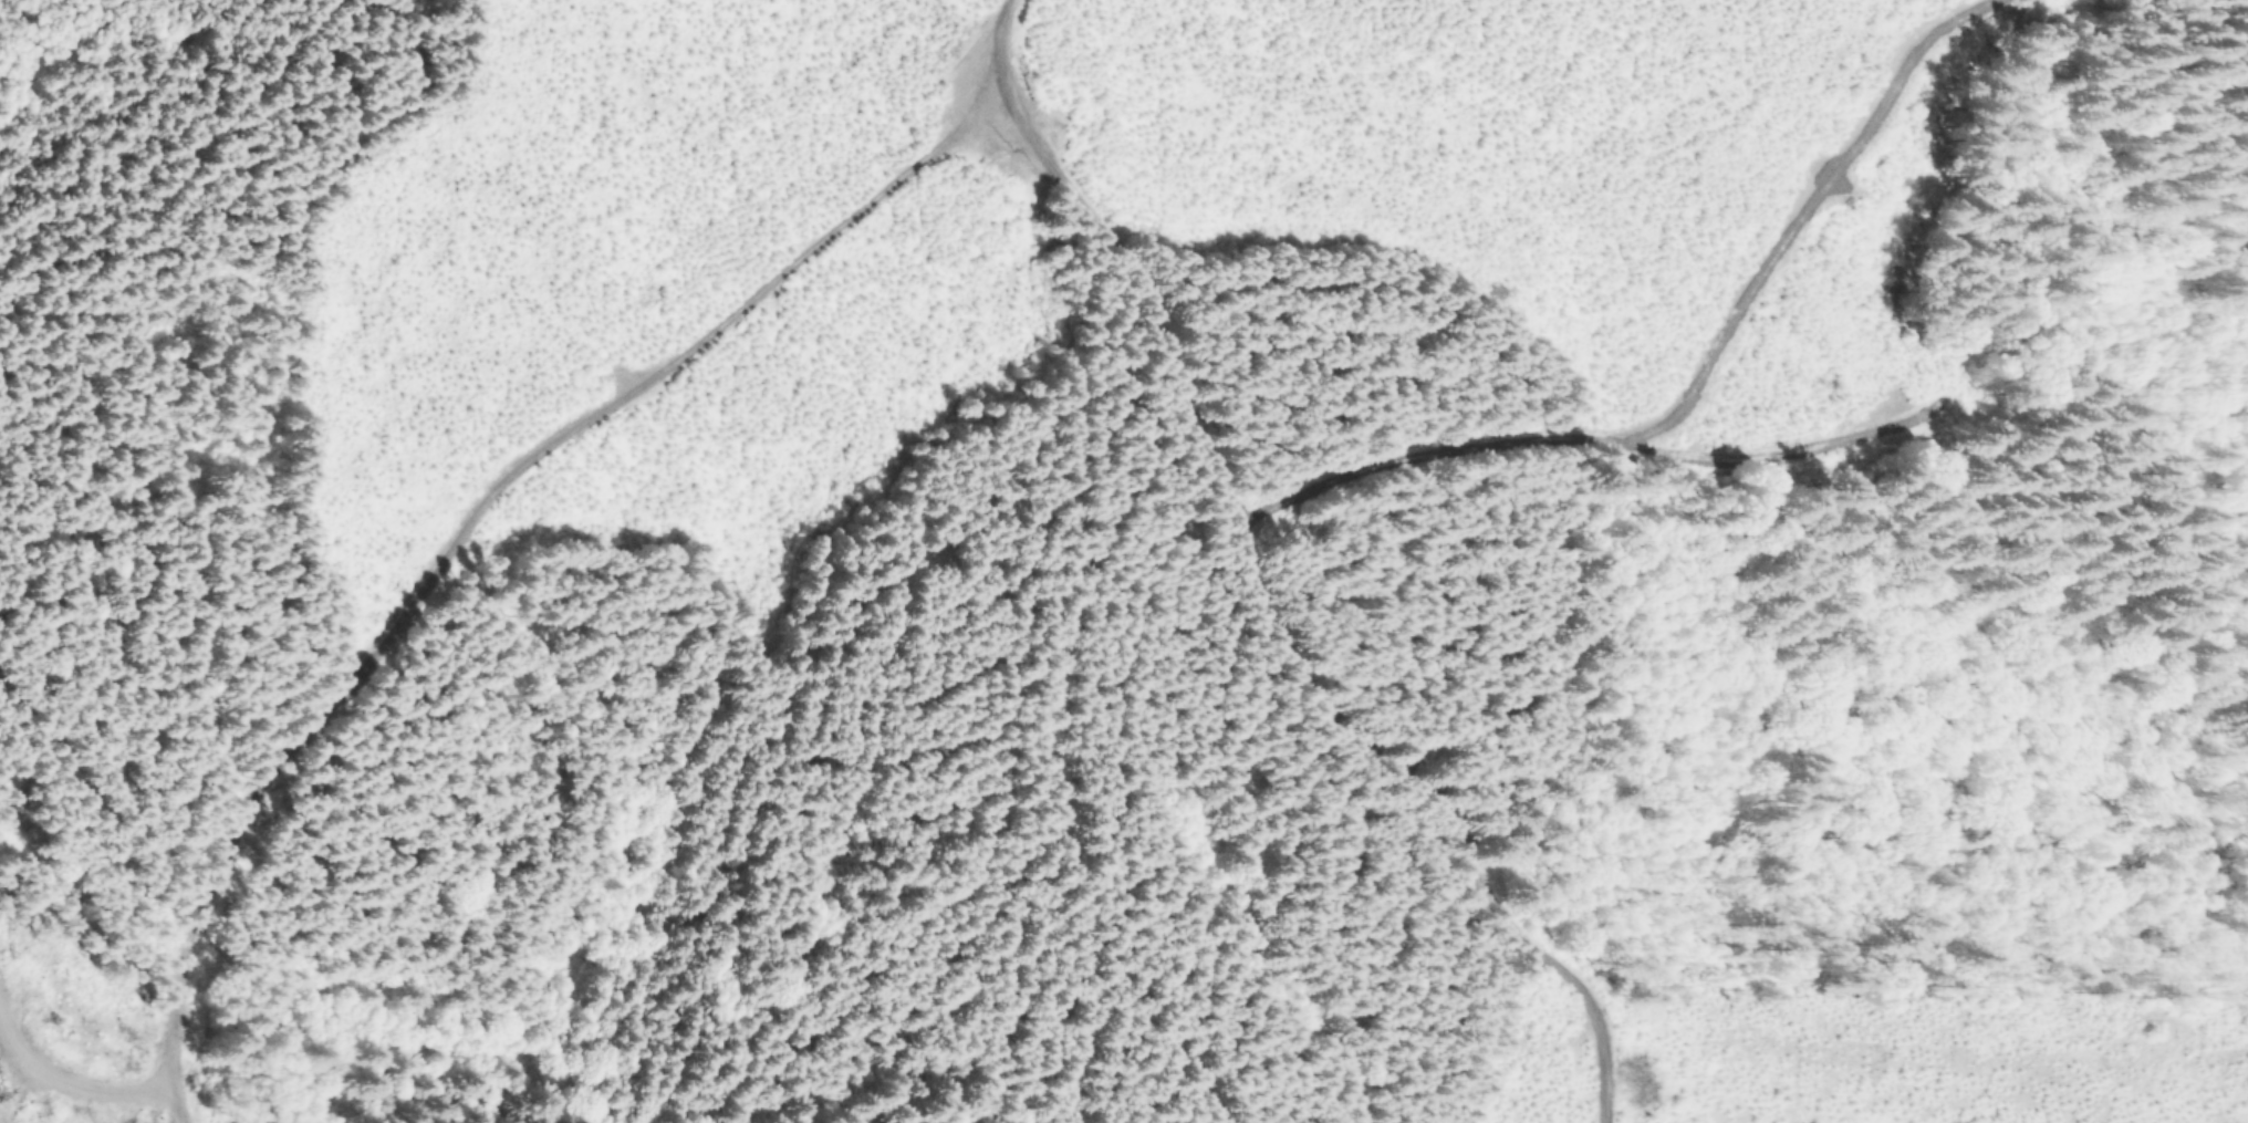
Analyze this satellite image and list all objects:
road: (836, 231)
road: (1579, 441)
road: (1259, 590)

